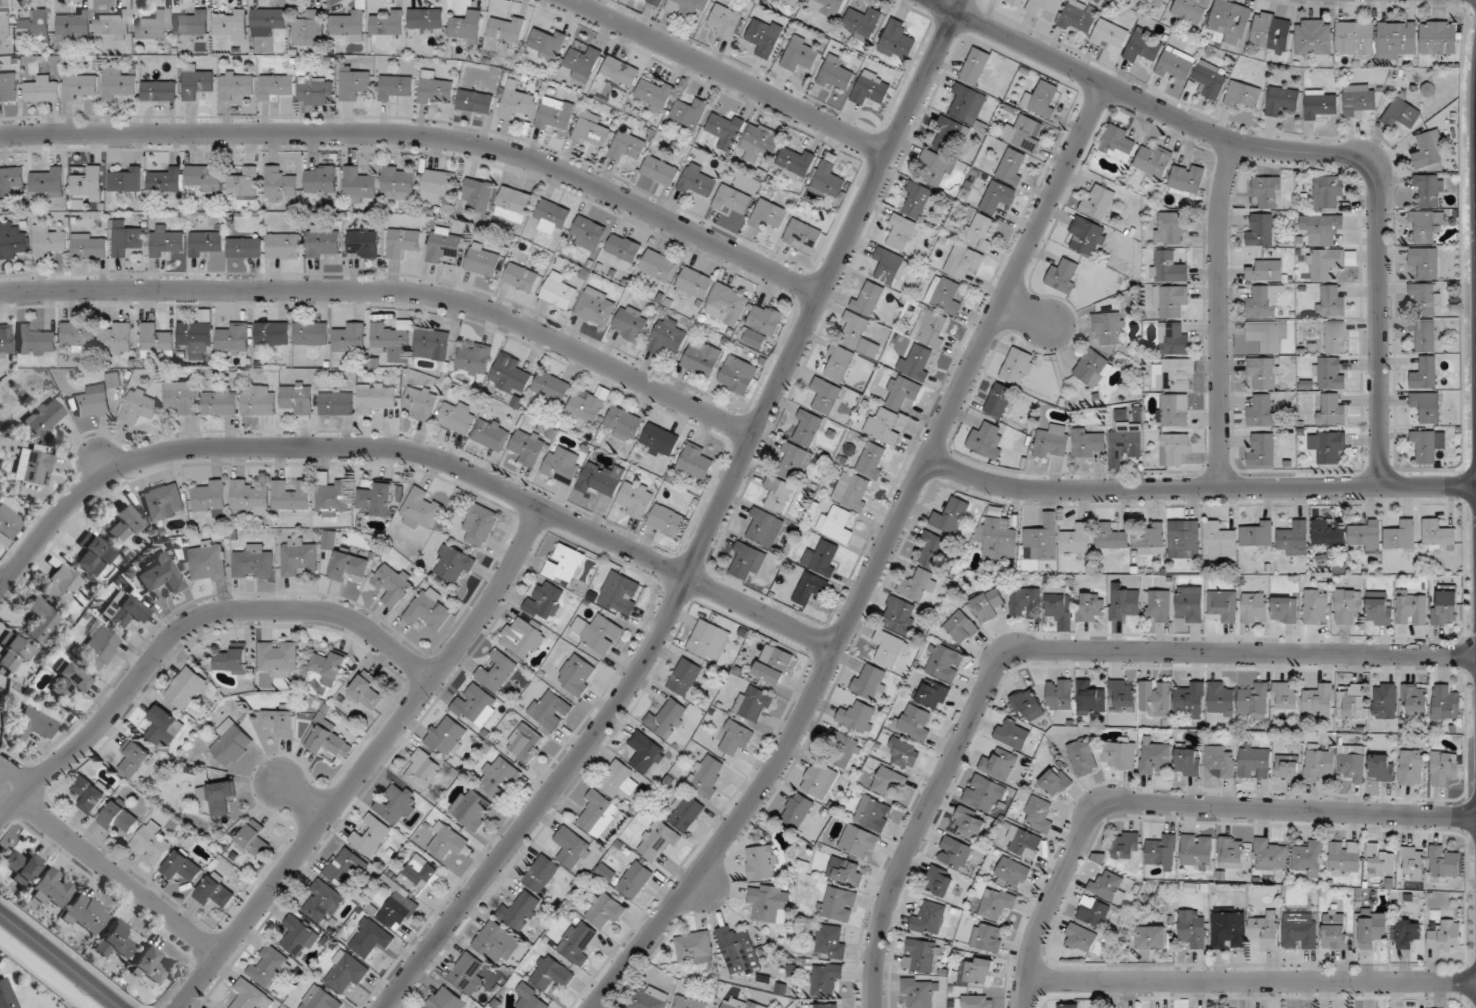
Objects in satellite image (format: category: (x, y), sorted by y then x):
building: (656, 2)
building: (792, 2)
building: (1017, 2)
building: (1154, 3)
building: (1045, 6)
building: (687, 7)
building: (827, 7)
building: (1191, 10)
building: (269, 18)
building: (1079, 18)
building: (426, 19)
building: (726, 21)
building: (862, 22)
building: (1230, 22)
building: (5, 24)
building: (192, 24)
building: (349, 24)
building: (389, 24)
building: (74, 25)
building: (153, 25)
building: (231, 25)
building: (35, 26)
building: (114, 26)
building: (467, 27)
building: (309, 28)
building: (507, 29)
building: (1272, 31)
building: (1111, 34)
building: (764, 36)
building: (1439, 38)
building: (1315, 39)
building: (1356, 40)
building: (1398, 40)
building: (897, 41)
building: (548, 44)
building: (1144, 47)
building: (800, 54)
building: (584, 63)
building: (975, 66)
building: (1175, 67)
building: (620, 71)
building: (836, 74)
road: (729, 76)
building: (1210, 80)
building: (197, 83)
building: (354, 83)
building: (117, 84)
building: (237, 85)
building: (276, 86)
building: (395, 86)
building: (8, 87)
building: (80, 87)
building: (871, 89)
building: (42, 90)
building: (435, 90)
building: (159, 91)
building: (655, 94)
building: (316, 95)
building: (1243, 95)
building: (1043, 99)
building: (1359, 99)
building: (1282, 101)
building: (475, 102)
building: (516, 102)
building: (1320, 103)
building: (968, 104)
building: (689, 112)
building: (1402, 113)
building: (555, 114)
building: (591, 130)
building: (725, 130)
building: (1025, 133)
road: (425, 135)
building: (951, 136)
building: (761, 139)
building: (1117, 143)
building: (627, 147)
building: (1428, 150)
road: (1297, 151)
building: (1154, 162)
building: (794, 164)
building: (1013, 167)
building: (937, 169)
building: (660, 170)
building: (205, 178)
building: (11, 180)
building: (126, 180)
building: (321, 180)
building: (829, 180)
building: (1186, 180)
building: (165, 181)
building: (697, 182)
building: (47, 183)
building: (398, 183)
building: (89, 184)
building: (280, 184)
building: (243, 185)
building: (359, 186)
building: (437, 186)
building: (1430, 189)
building: (1328, 191)
building: (1268, 192)
building: (479, 195)
building: (997, 197)
building: (918, 201)
building: (1098, 202)
building: (514, 204)
building: (768, 214)
building: (552, 216)
building: (1427, 226)
building: (1170, 228)
building: (1322, 228)
building: (1260, 229)
building: (979, 231)
building: (900, 232)
building: (589, 233)
building: (802, 234)
building: (1088, 237)
building: (124, 239)
building: (12, 241)
building: (48, 241)
building: (165, 241)
building: (323, 241)
building: (363, 242)
building: (403, 242)
building: (205, 244)
building: (444, 245)
building: (89, 246)
building: (284, 246)
building: (245, 247)
building: (624, 247)
building: (483, 260)
building: (964, 262)
building: (1331, 262)
building: (1425, 262)
building: (659, 266)
building: (891, 266)
building: (1169, 267)
building: (1266, 271)
road: (1016, 272)
building: (1064, 276)
building: (522, 278)
building: (695, 283)
road: (390, 290)
building: (559, 291)
building: (945, 296)
building: (868, 299)
building: (1425, 299)
building: (1171, 300)
building: (1263, 301)
building: (726, 304)
building: (596, 307)
road: (1029, 311)
road: (1218, 313)
building: (631, 323)
building: (762, 326)
building: (1109, 327)
building: (932, 328)
building: (272, 333)
building: (311, 333)
building: (79, 334)
building: (859, 335)
building: (1267, 335)
building: (669, 336)
building: (1425, 336)
building: (392, 337)
building: (1336, 337)
building: (117, 338)
building: (350, 338)
building: (196, 339)
building: (233, 339)
building: (1173, 339)
building: (5, 340)
building: (35, 341)
building: (157, 343)
building: (432, 344)
building: (702, 358)
building: (474, 359)
building: (838, 362)
building: (917, 364)
building: (1018, 366)
building: (1092, 368)
building: (1264, 372)
building: (1330, 373)
building: (1425, 373)
building: (1170, 374)
building: (510, 375)
building: (738, 375)
building: (552, 386)
building: (903, 392)
building: (826, 395)
building: (376, 396)
building: (97, 398)
building: (181, 398)
building: (297, 399)
building: (259, 400)
building: (1000, 401)
building: (220, 402)
building: (337, 402)
building: (422, 403)
building: (139, 407)
building: (586, 409)
building: (1330, 410)
building: (1172, 411)
building: (1262, 411)
building: (457, 416)
building: (44, 418)
building: (623, 423)
building: (883, 426)
building: (807, 428)
building: (492, 434)
building: (986, 439)
building: (1126, 440)
building: (659, 441)
building: (1052, 442)
building: (1088, 442)
building: (1328, 446)
building: (529, 447)
building: (1430, 447)
building: (1174, 449)
building: (1261, 449)
road: (411, 450)
building: (795, 459)
building: (873, 460)
building: (696, 462)
building: (563, 464)
building: (33, 467)
building: (602, 479)
road: (1198, 488)
building: (853, 491)
building: (780, 494)
building: (292, 495)
building: (250, 497)
building: (334, 497)
building: (210, 498)
building: (636, 499)
building: (380, 500)
building: (163, 502)
building: (420, 510)
building: (951, 516)
building: (667, 521)
building: (123, 524)
building: (837, 524)
building: (8, 525)
building: (480, 525)
road: (708, 526)
building: (764, 527)
building: (1328, 533)
building: (1258, 535)
building: (1366, 535)
building: (1438, 535)
building: (1401, 536)
building: (1077, 538)
building: (1111, 538)
building: (1220, 539)
building: (998, 540)
building: (1043, 540)
building: (1150, 540)
building: (1185, 542)
building: (932, 549)
building: (93, 555)
building: (299, 557)
building: (823, 558)
building: (207, 561)
building: (747, 561)
building: (253, 562)
building: (453, 564)
building: (564, 565)
building: (348, 567)
building: (162, 575)
building: (393, 584)
building: (60, 585)
building: (918, 585)
road: (0, 586)
road: (0, 587)
building: (810, 588)
building: (620, 593)
building: (546, 601)
building: (1026, 603)
building: (1124, 603)
building: (1190, 604)
building: (988, 605)
building: (1158, 605)
building: (1223, 606)
building: (1315, 606)
building: (1348, 606)
building: (1446, 606)
building: (1090, 607)
building: (1255, 608)
building: (1379, 609)
building: (428, 610)
building: (1285, 610)
building: (1412, 610)
building: (123, 611)
building: (1061, 611)
building: (900, 615)
building: (40, 620)
road: (186, 624)
building: (962, 627)
building: (597, 632)
building: (522, 638)
building: (709, 640)
building: (98, 649)
road: (1048, 649)
building: (890, 650)
building: (12, 653)
building: (278, 658)
building: (232, 660)
building: (944, 661)
building: (774, 664)
building: (329, 667)
building: (497, 671)
building: (577, 675)
building: (685, 677)
building: (870, 681)
building: (69, 682)
building: (187, 689)
building: (366, 692)
building: (933, 694)
building: (1060, 694)
building: (1123, 696)
building: (1285, 696)
building: (1090, 698)
building: (1155, 698)
building: (1190, 699)
building: (1221, 699)
building: (1254, 700)
building: (1319, 700)
building: (1415, 700)
building: (1385, 701)
building: (1352, 702)
building: (753, 703)
building: (1445, 703)
building: (1028, 704)
building: (476, 705)
building: (550, 710)
building: (858, 717)
building: (667, 719)
building: (279, 721)
building: (916, 723)
building: (33, 725)
building: (164, 727)
building: (1012, 734)
building: (445, 736)
building: (735, 738)
building: (327, 739)
building: (526, 743)
building: (232, 744)
road: (785, 748)
building: (843, 748)
building: (645, 752)
building: (904, 753)
building: (1120, 753)
building: (1083, 757)
building: (1154, 757)
building: (134, 759)
building: (1220, 761)
building: (1188, 762)
building: (1255, 762)
road: (367, 763)
building: (1319, 763)
building: (1000, 765)
building: (1353, 766)
building: (1411, 767)
building: (1287, 768)
building: (1382, 768)
building: (1444, 768)
building: (422, 770)
building: (706, 776)
building: (499, 777)
building: (618, 779)
building: (819, 781)
building: (889, 781)
building: (1056, 782)
building: (91, 793)
building: (985, 794)
building: (218, 796)
road: (300, 797)
building: (396, 804)
road: (1179, 805)
building: (471, 810)
building: (797, 810)
building: (685, 812)
building: (598, 813)
building: (874, 813)
building: (1039, 814)
building: (120, 817)
building: (970, 823)
building: (371, 836)
building: (658, 839)
building: (255, 840)
building: (447, 842)
building: (859, 842)
building: (1023, 842)
building: (151, 844)
building: (1126, 845)
building: (571, 848)
building: (1197, 852)
building: (1231, 852)
building: (954, 853)
building: (1162, 853)
building: (1270, 856)
building: (1345, 857)
building: (1309, 859)
building: (1380, 861)
building: (1413, 861)
building: (761, 862)
building: (1443, 863)
building: (20, 866)
building: (182, 868)
building: (345, 868)
road: (108, 869)
building: (846, 871)
building: (1013, 873)
building: (421, 874)
building: (541, 874)
building: (635, 880)
building: (939, 881)
building: (1109, 887)
building: (53, 889)
building: (215, 891)
building: (322, 903)
building: (769, 903)
building: (838, 904)
building: (998, 904)
building: (398, 910)
building: (520, 910)
building: (605, 911)
building: (1094, 911)
building: (86, 914)
building: (929, 919)
building: (1372, 927)
building: (1192, 928)
building: (1229, 928)
building: (1334, 930)
building: (1266, 931)
building: (1300, 931)
building: (1407, 933)
building: (299, 936)
building: (1445, 936)
building: (1153, 937)
building: (370, 938)
building: (987, 939)
building: (1082, 939)
building: (115, 941)
building: (577, 942)
building: (831, 942)
building: (496, 943)
building: (694, 948)
building: (738, 950)
building: (921, 956)
road: (61, 959)
building: (268, 966)
building: (149, 967)
building: (979, 970)
building: (345, 973)
building: (467, 974)
building: (551, 974)
building: (826, 979)
road: (1250, 980)
building: (920, 992)
building: (6, 995)
building: (250, 996)
building: (533, 998)
building: (649, 998)
building: (321, 999)
building: (446, 1000)
building: (978, 1001)
building: (688, 1003)
building: (739, 1003)
building: (829, 1006)
building: (1067, 1006)

